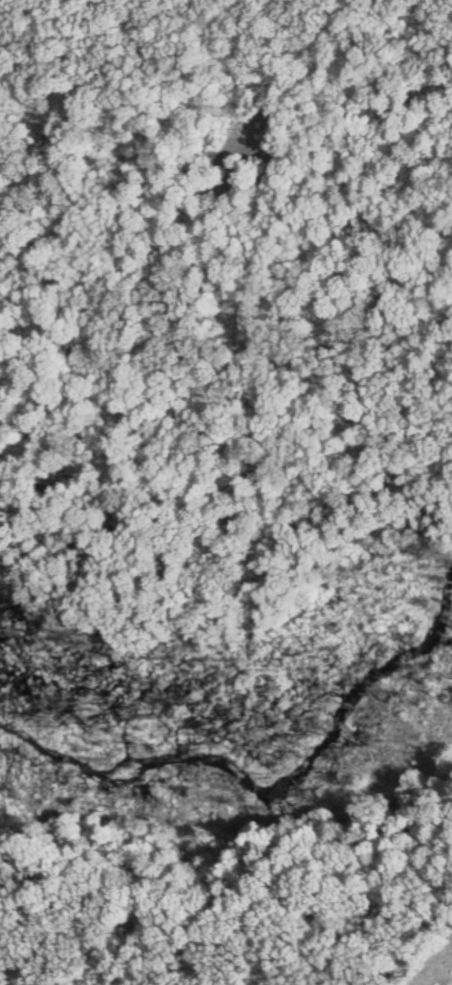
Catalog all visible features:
wastewater plant: (305, 953)

